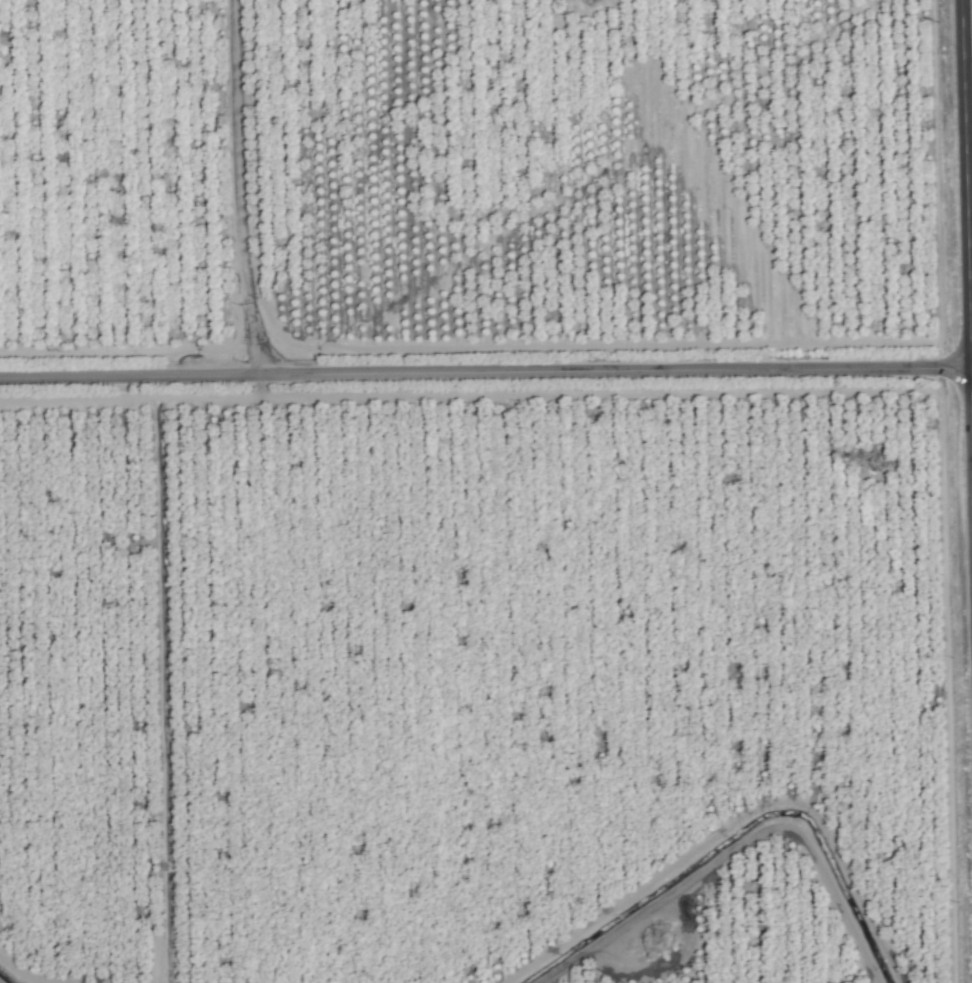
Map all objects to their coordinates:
building: (591, 2)
road: (967, 139)
road: (239, 190)
road: (485, 376)
power tower: (870, 458)
crop: (489, 495)

